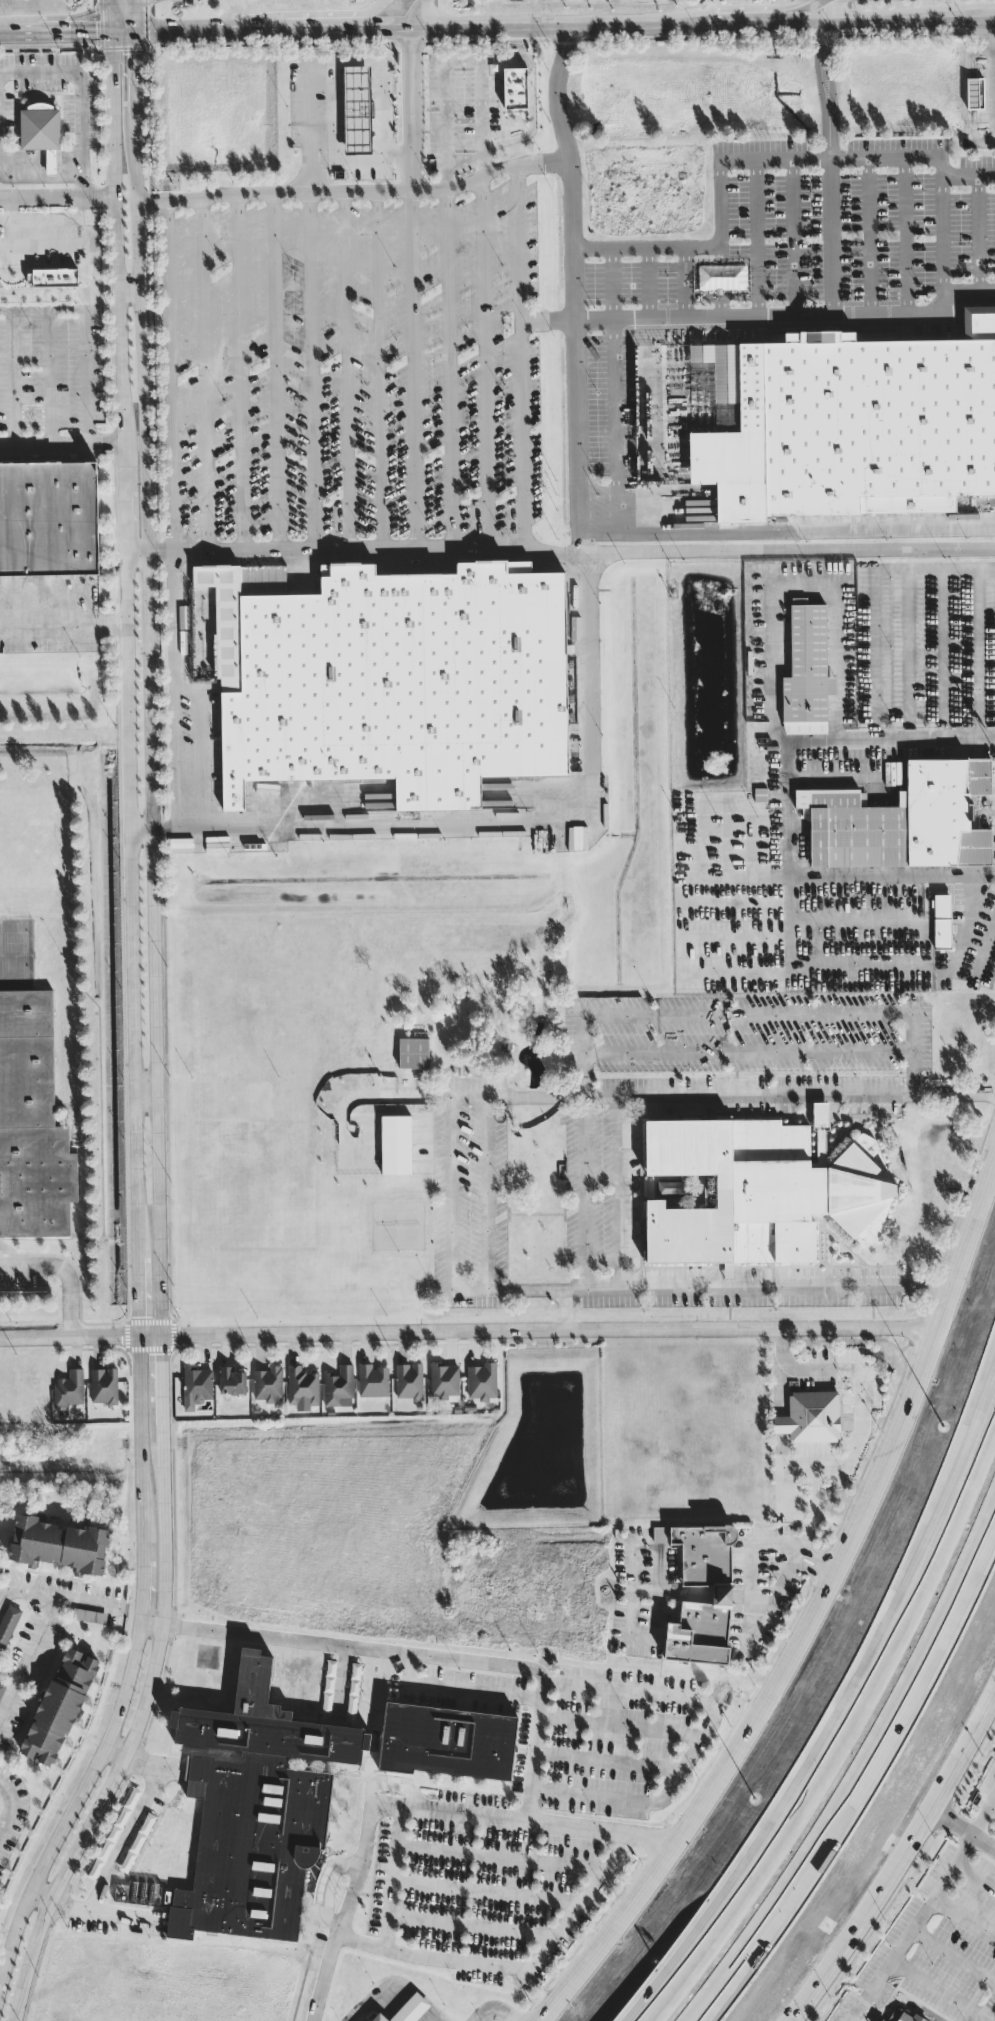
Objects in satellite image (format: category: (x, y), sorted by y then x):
road: (737, 9)
road: (828, 9)
road: (123, 13)
road: (413, 15)
road: (136, 18)
road: (110, 19)
road: (63, 20)
road: (323, 20)
road: (890, 22)
road: (743, 26)
road: (537, 30)
road: (318, 33)
road: (199, 35)
road: (989, 35)
road: (123, 37)
road: (55, 38)
traffic signals: (95, 38)
traffic signals: (136, 52)
road: (358, 56)
road: (455, 60)
building: (515, 87)
road: (81, 92)
building: (975, 92)
road: (828, 93)
building: (357, 108)
road: (309, 127)
building: (41, 131)
road: (464, 160)
road: (360, 161)
road: (788, 162)
road: (42, 174)
parking lot: (378, 175)
road: (357, 193)
road: (57, 195)
road: (91, 217)
road: (5, 218)
road: (40, 220)
road: (871, 238)
road: (795, 239)
road: (834, 239)
road: (47, 242)
parking lot: (815, 242)
road: (944, 243)
road: (648, 249)
building: (54, 277)
road: (130, 287)
road: (413, 289)
road: (70, 293)
road: (762, 317)
road: (487, 360)
road: (87, 367)
road: (452, 367)
road: (312, 370)
road: (377, 370)
road: (277, 371)
road: (348, 371)
road: (241, 372)
road: (201, 373)
road: (50, 374)
road: (169, 375)
road: (13, 376)
road: (616, 430)
building: (841, 441)
road: (62, 442)
road: (579, 492)
building: (48, 518)
road: (517, 546)
road: (556, 552)
road: (791, 565)
road: (64, 621)
road: (908, 658)
road: (979, 658)
road: (941, 659)
building: (392, 679)
building: (805, 681)
road: (171, 689)
road: (844, 734)
building: (759, 795)
road: (491, 819)
road: (142, 828)
building: (902, 835)
road: (788, 902)
building: (942, 920)
road: (986, 943)
road: (884, 1015)
road: (132, 1025)
road: (156, 1042)
building: (413, 1052)
road: (912, 1070)
road: (145, 1087)
road: (368, 1096)
road: (721, 1098)
building: (30, 1118)
building: (395, 1144)
road: (484, 1195)
road: (586, 1196)
road: (626, 1196)
road: (452, 1200)
building: (754, 1205)
road: (69, 1261)
road: (66, 1270)
road: (703, 1292)
road: (565, 1312)
road: (468, 1330)
building: (232, 1380)
building: (372, 1380)
building: (409, 1380)
building: (444, 1381)
building: (482, 1381)
building: (104, 1385)
building: (268, 1385)
building: (302, 1385)
building: (196, 1386)
building: (338, 1386)
building: (69, 1388)
building: (810, 1416)
road: (838, 1463)
road: (961, 1464)
building: (58, 1544)
road: (751, 1547)
road: (967, 1548)
road: (818, 1554)
road: (967, 1560)
road: (809, 1569)
road: (672, 1592)
building: (721, 1593)
road: (4, 1595)
road: (722, 1595)
road: (752, 1595)
road: (67, 1597)
building: (89, 1615)
road: (813, 1619)
building: (8, 1623)
road: (343, 1645)
road: (29, 1658)
road: (341, 1685)
building: (1, 1687)
road: (458, 1689)
building: (59, 1706)
road: (621, 1726)
road: (843, 1728)
road: (536, 1735)
road: (700, 1739)
building: (448, 1741)
road: (143, 1758)
road: (607, 1761)
building: (255, 1809)
road: (414, 1809)
road: (991, 1809)
road: (6, 1810)
road: (817, 1823)
road: (965, 1832)
road: (125, 1836)
road: (499, 1857)
road: (975, 1868)
road: (902, 1869)
road: (394, 1879)
road: (327, 1886)
road: (485, 1892)
building: (146, 1894)
road: (921, 1907)
road: (570, 1908)
road: (93, 1910)
road: (963, 1912)
road: (470, 1926)
road: (952, 1954)
road: (428, 1958)
road: (941, 1987)
building: (406, 2009)
road: (987, 2009)
road: (492, 2010)
building: (903, 2015)
building: (876, 2020)
building: (879, 2020)

